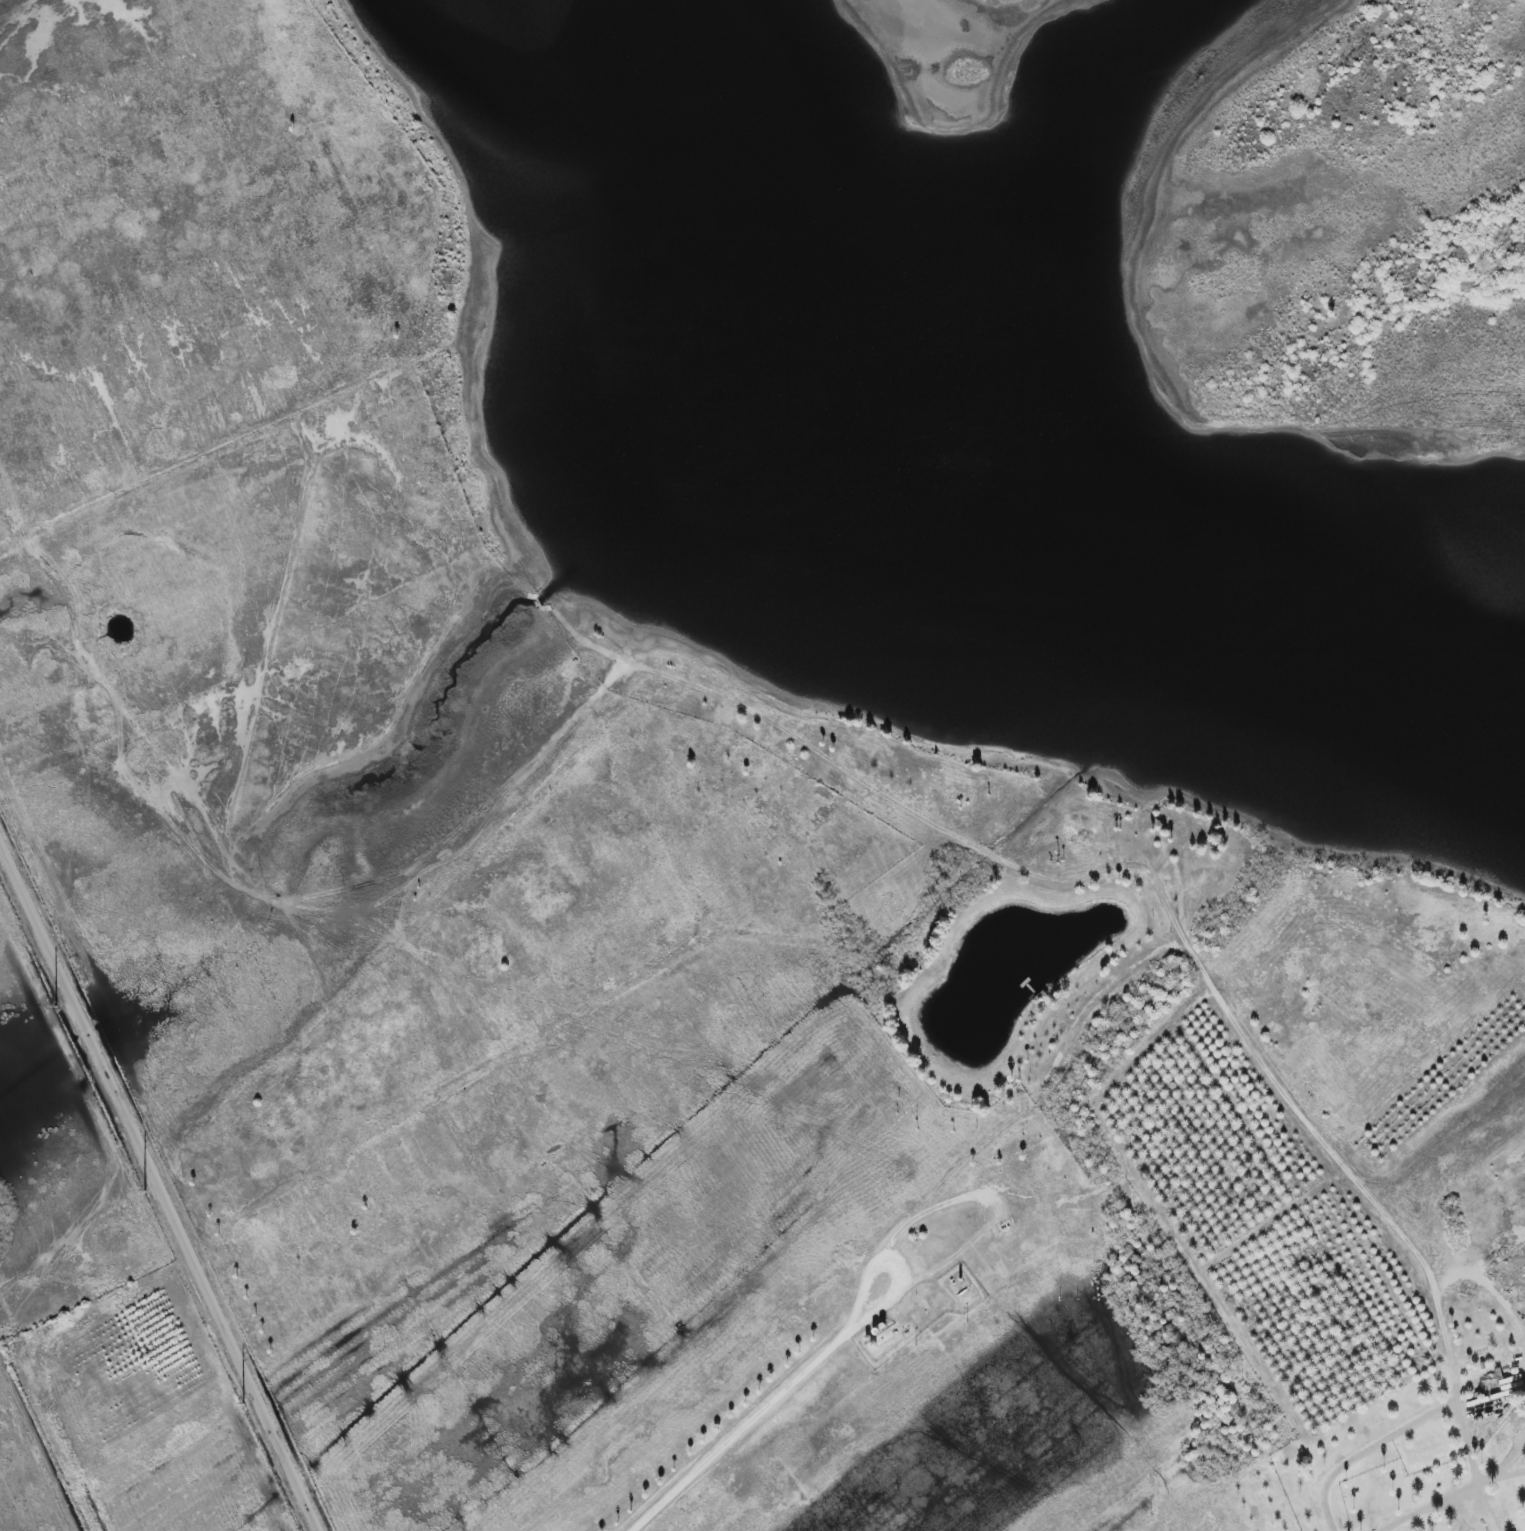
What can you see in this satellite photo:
road: (159, 1186)
road: (922, 1212)
road: (896, 1260)
road: (1450, 1417)
road: (740, 1431)
road: (1514, 1473)
road: (1514, 1483)
road: (1493, 1489)

